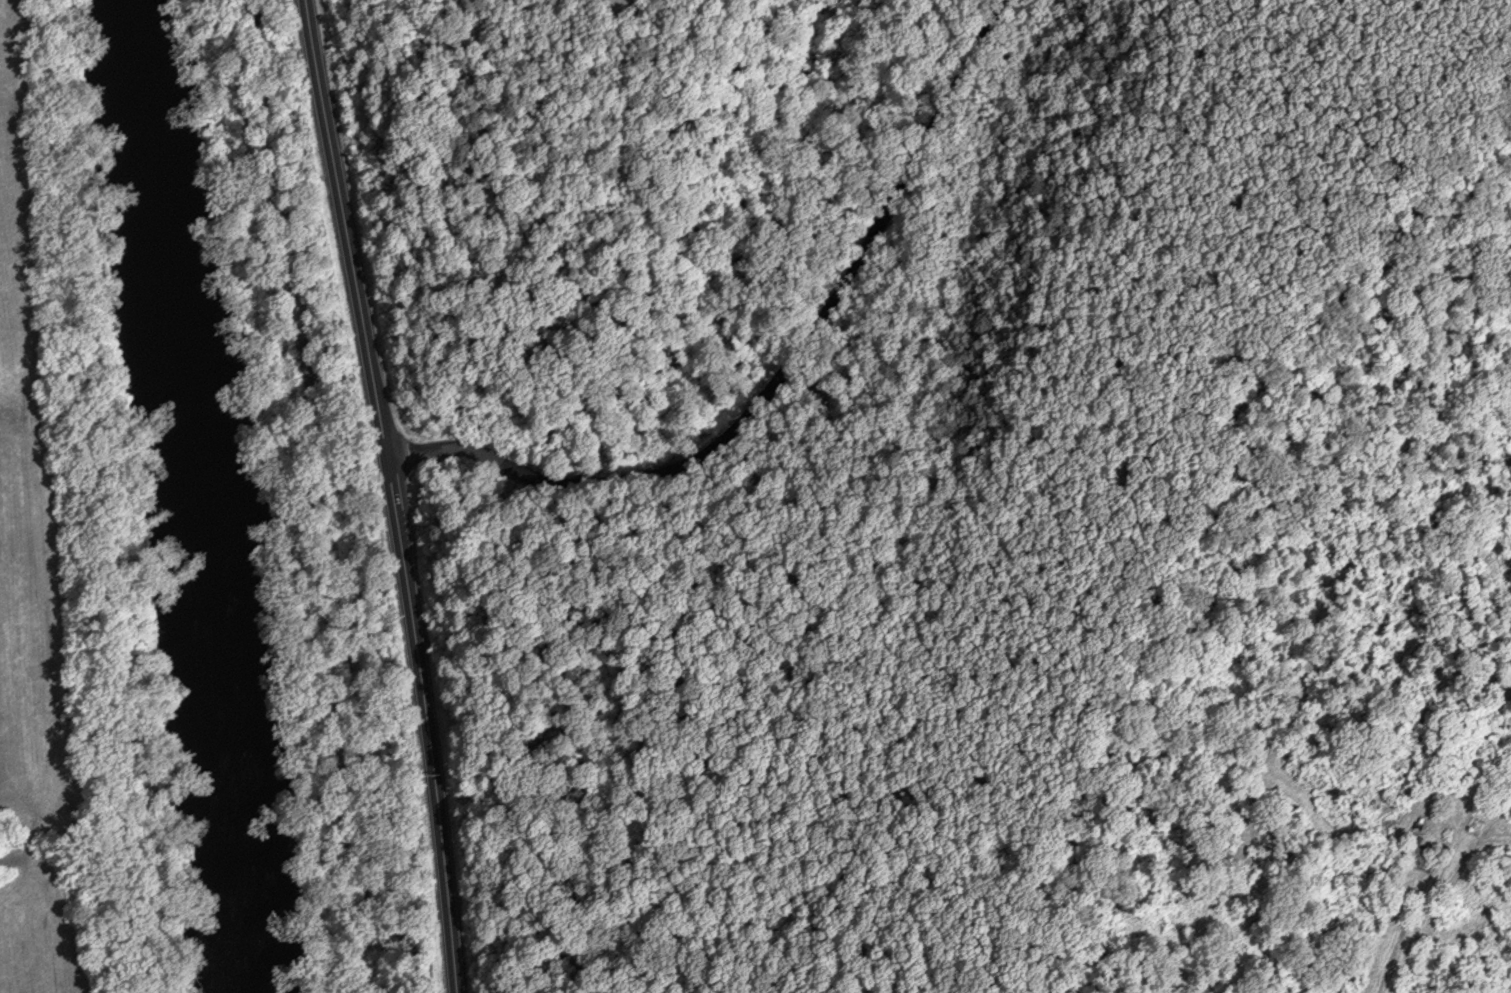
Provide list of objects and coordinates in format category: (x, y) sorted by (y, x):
road: (779, 377)
river: (213, 494)
road: (309, 494)
road: (392, 494)
building: (1414, 851)
road: (1424, 907)

